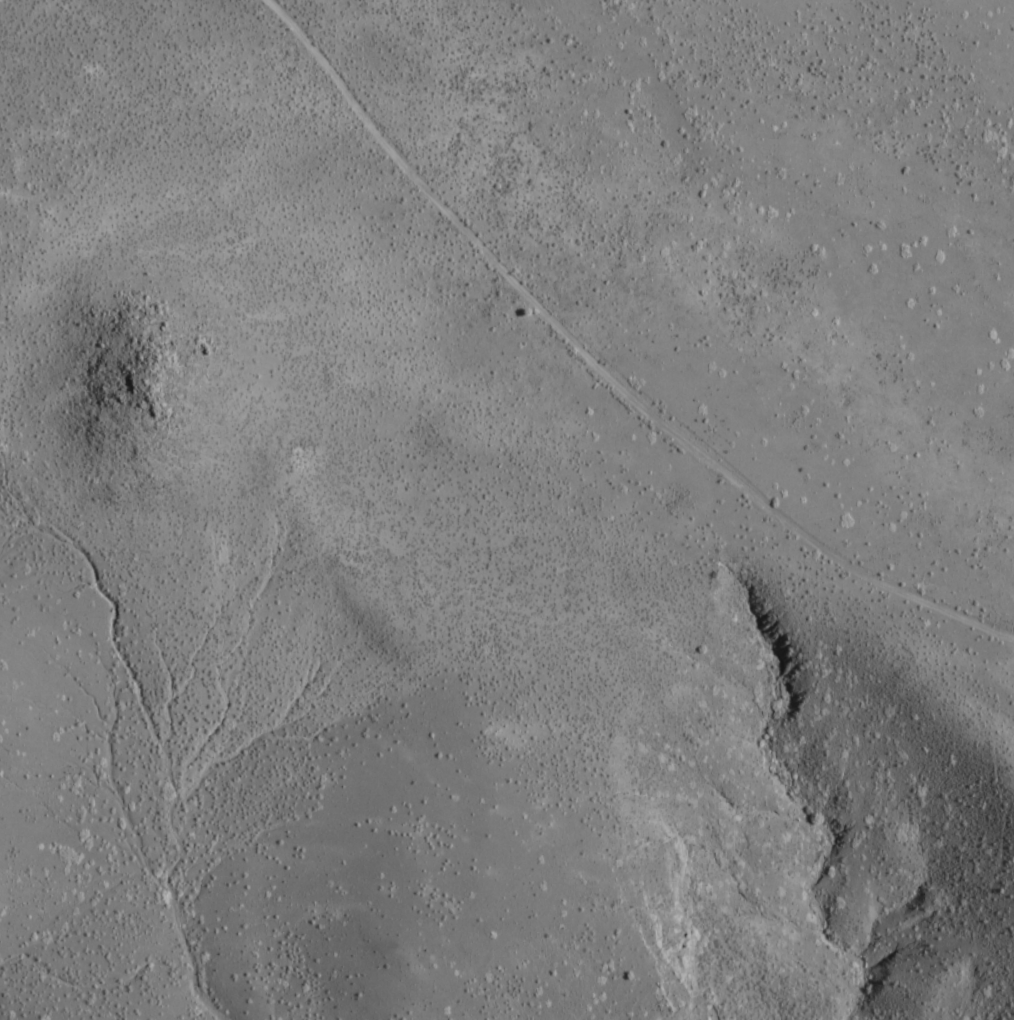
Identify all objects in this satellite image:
road: (597, 370)

